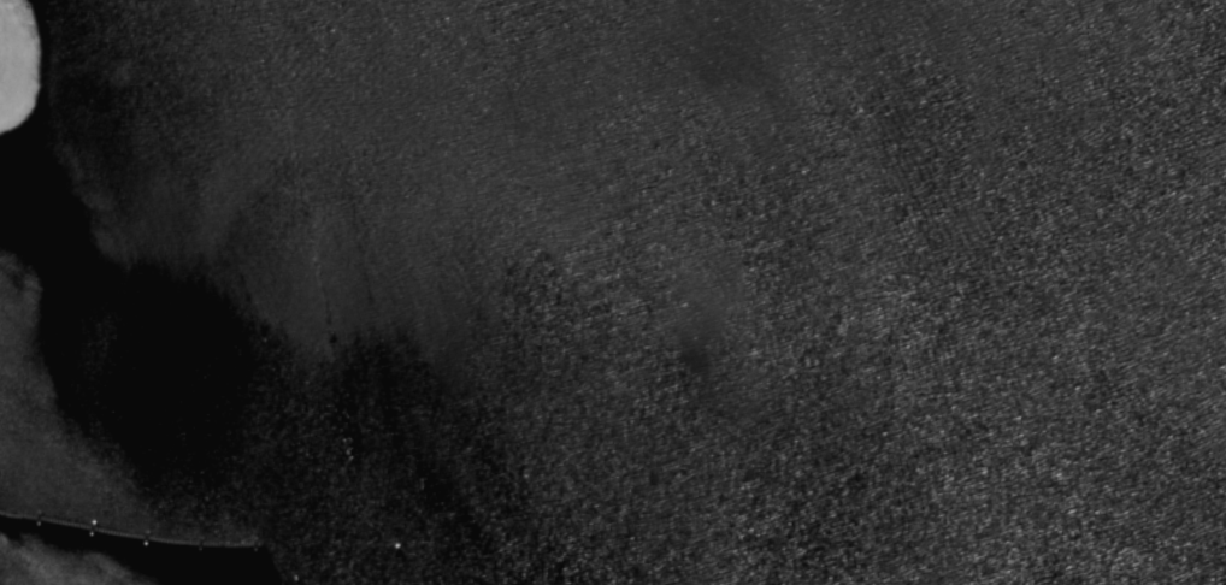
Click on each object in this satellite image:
river: (786, 292)

